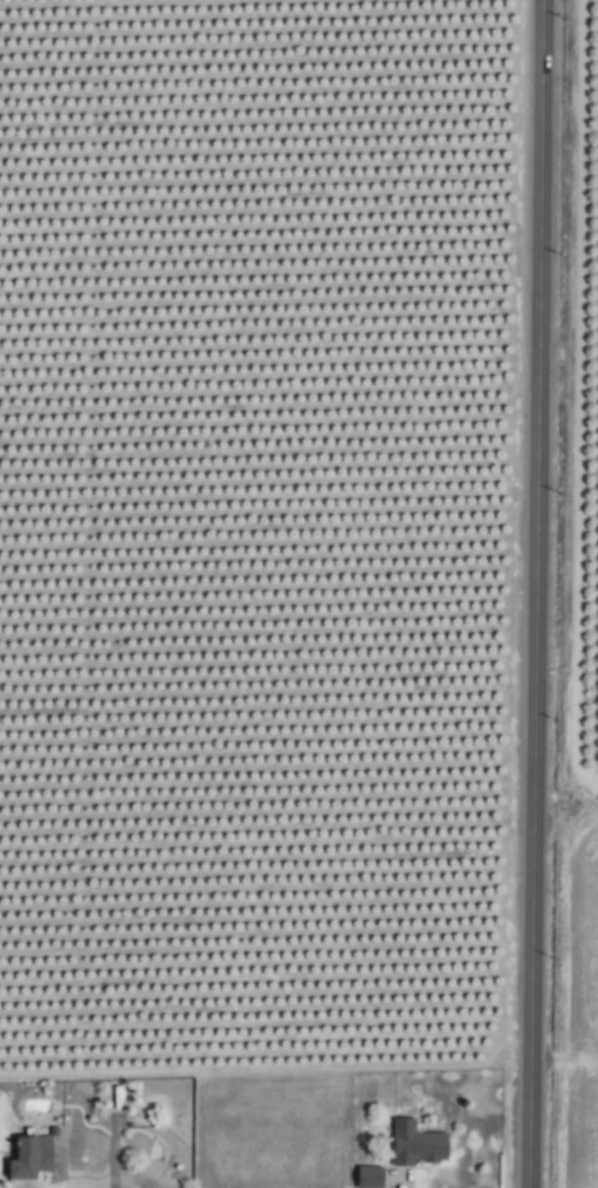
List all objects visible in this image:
road: (536, 593)
building: (413, 1144)
road: (112, 1151)
building: (26, 1162)
building: (367, 1177)
road: (90, 1187)

